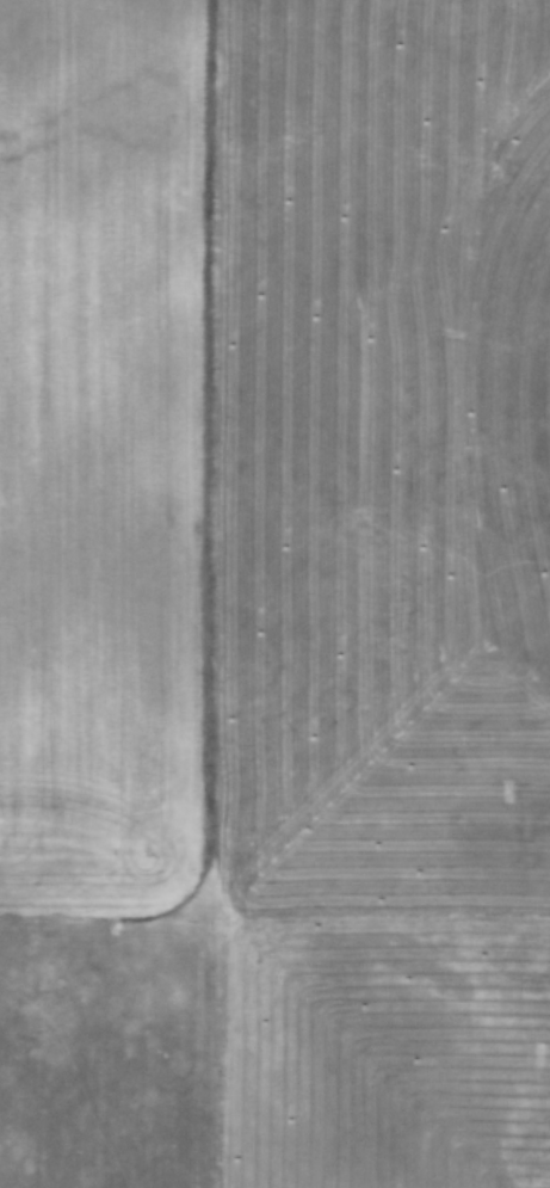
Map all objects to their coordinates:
road: (274, 917)
road: (215, 1052)

